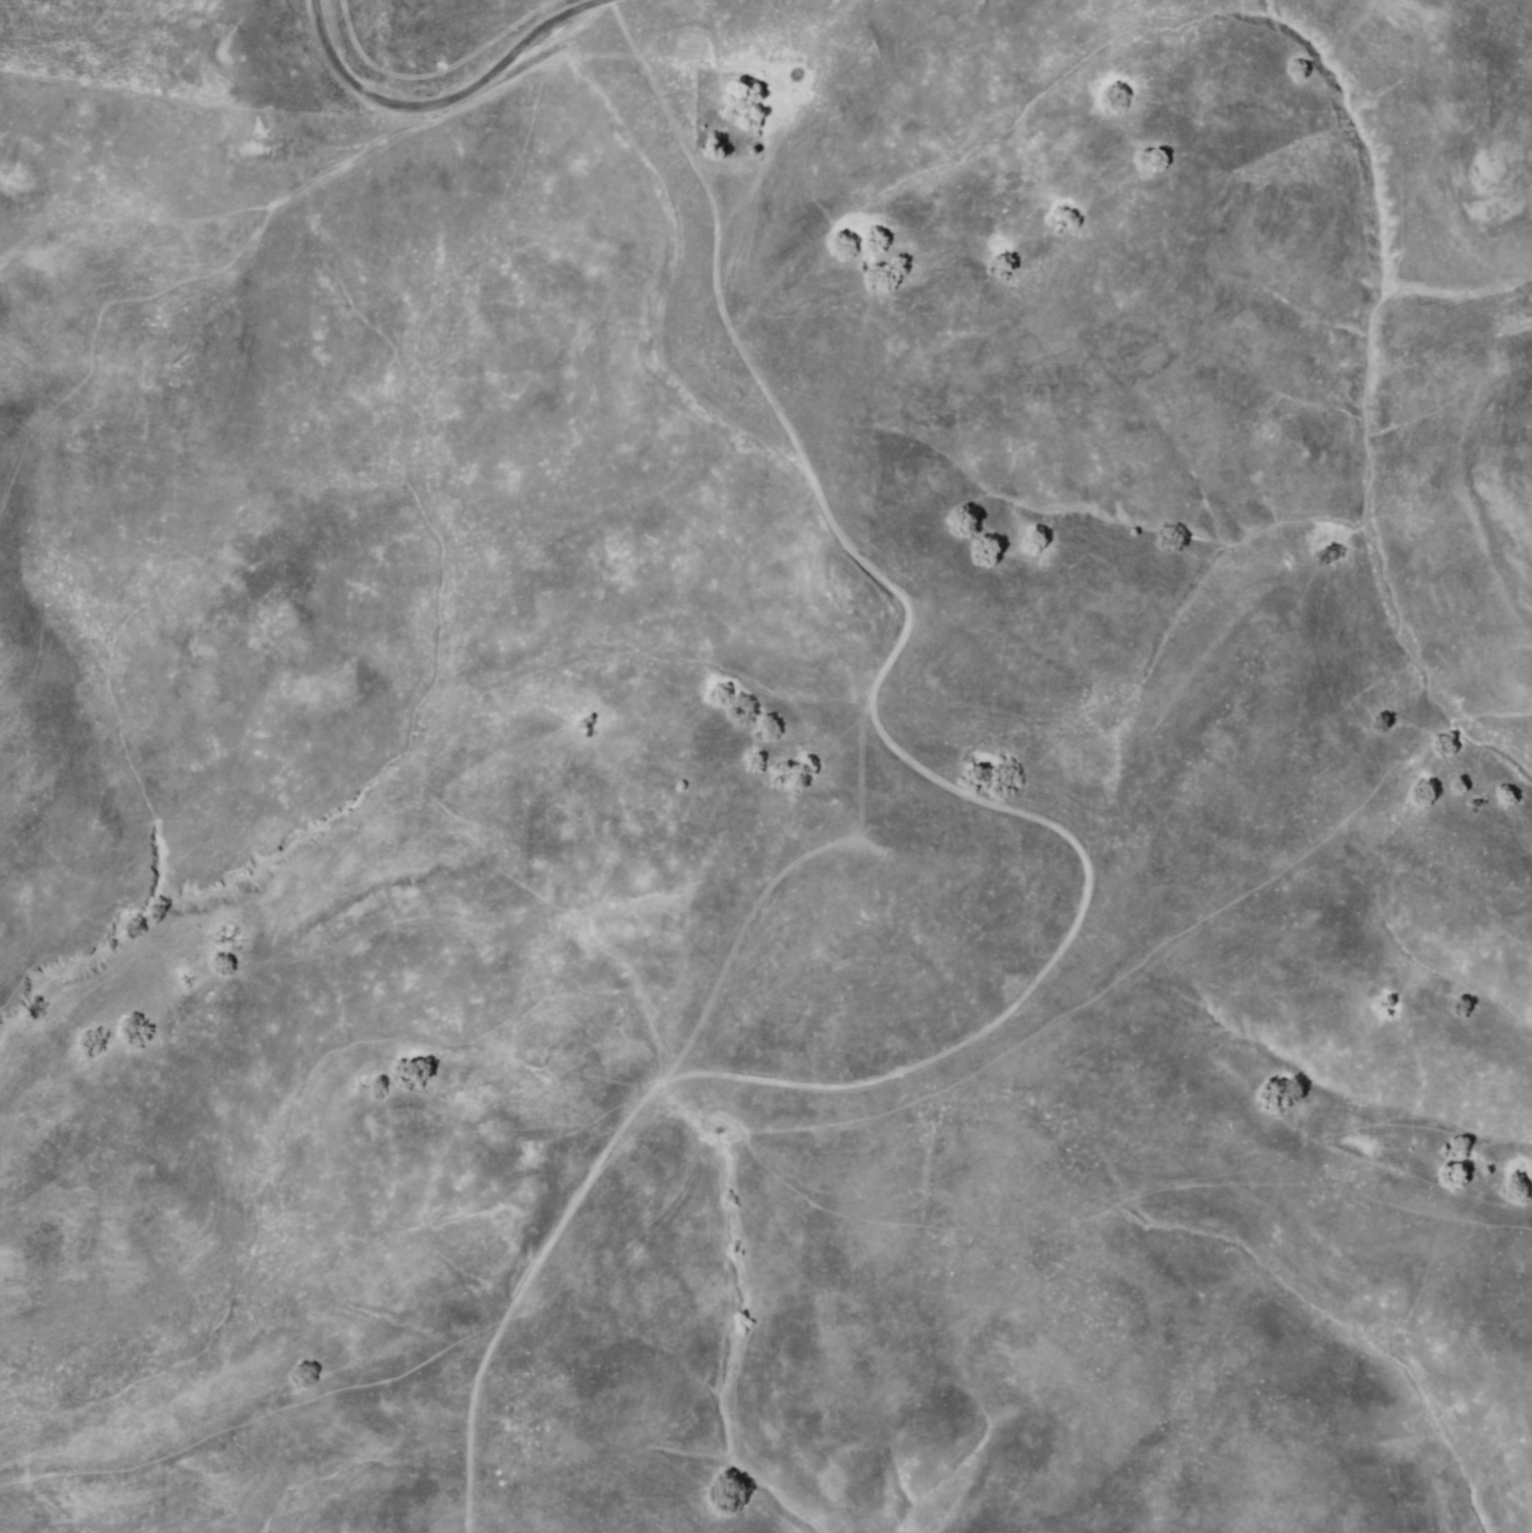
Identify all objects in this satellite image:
road: (441, 102)
road: (1077, 847)

